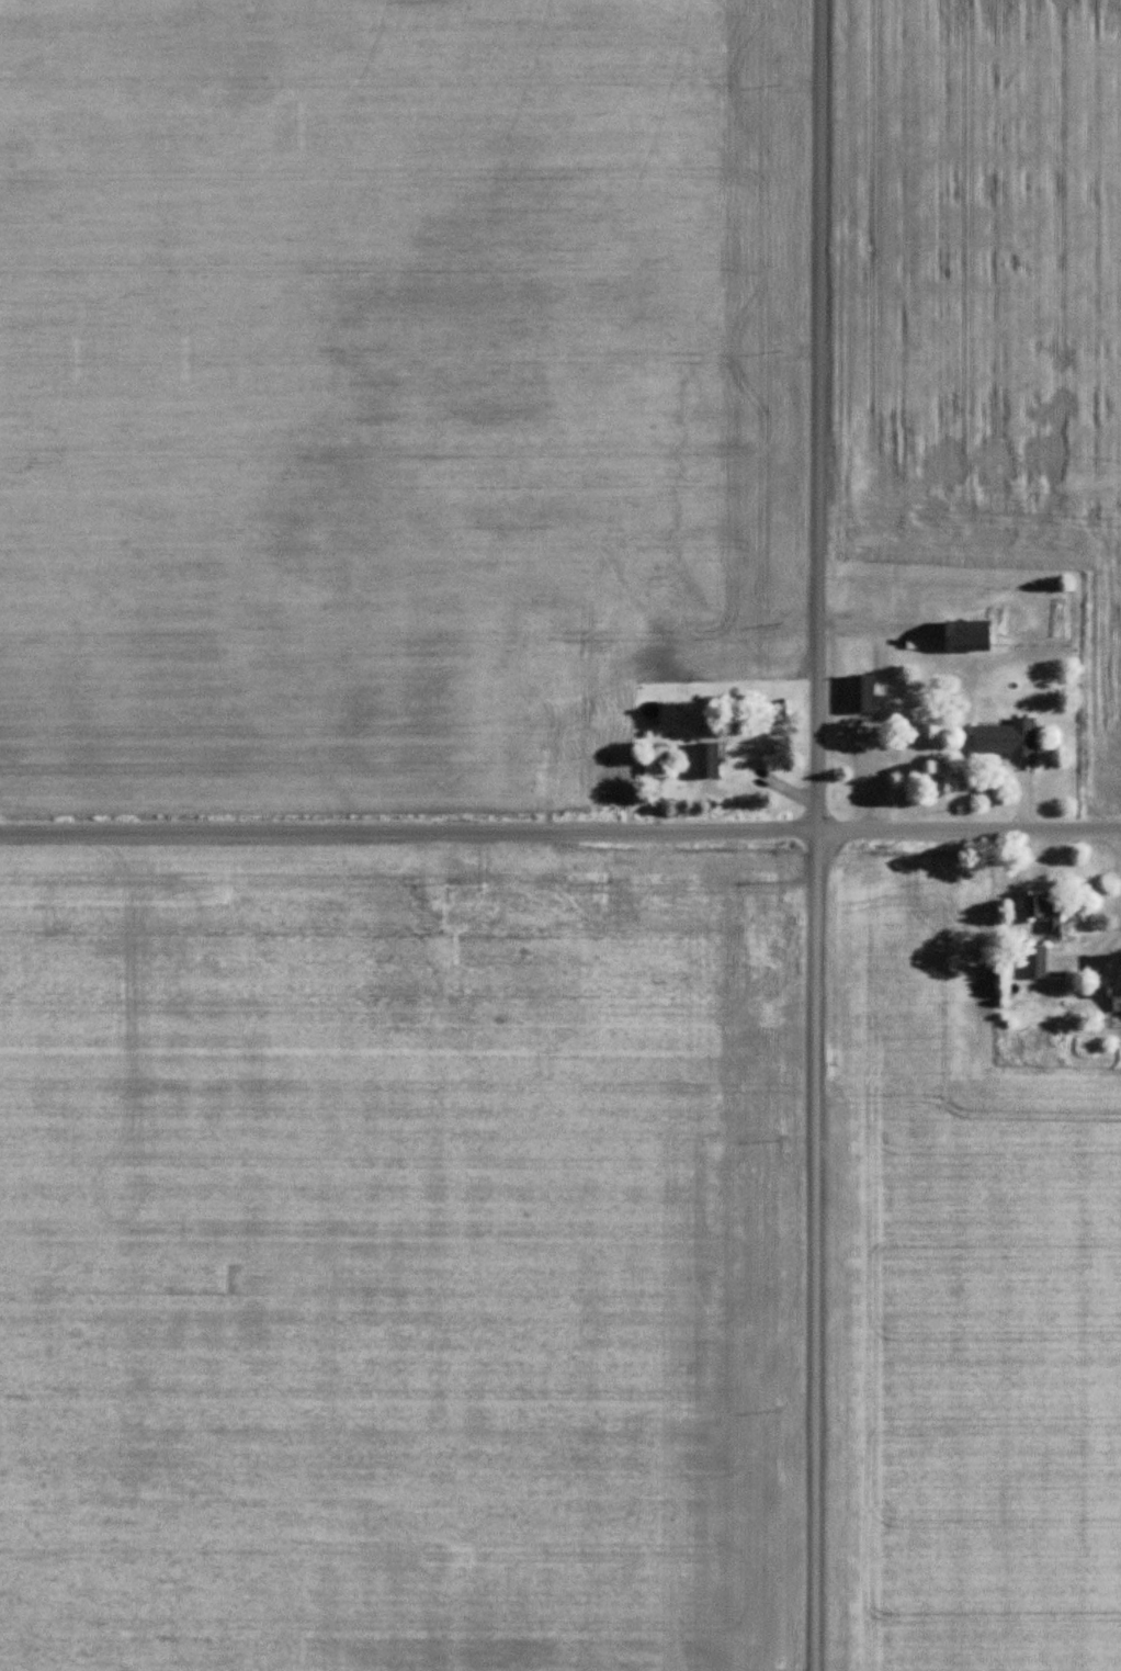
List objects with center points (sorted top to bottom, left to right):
building: (966, 635)
building: (540, 665)
building: (860, 693)
building: (624, 699)
building: (1005, 739)
building: (593, 757)
building: (656, 761)
building: (706, 761)
road: (560, 834)
road: (812, 835)
road: (1107, 901)
building: (1044, 911)
building: (1035, 962)
building: (1116, 982)

